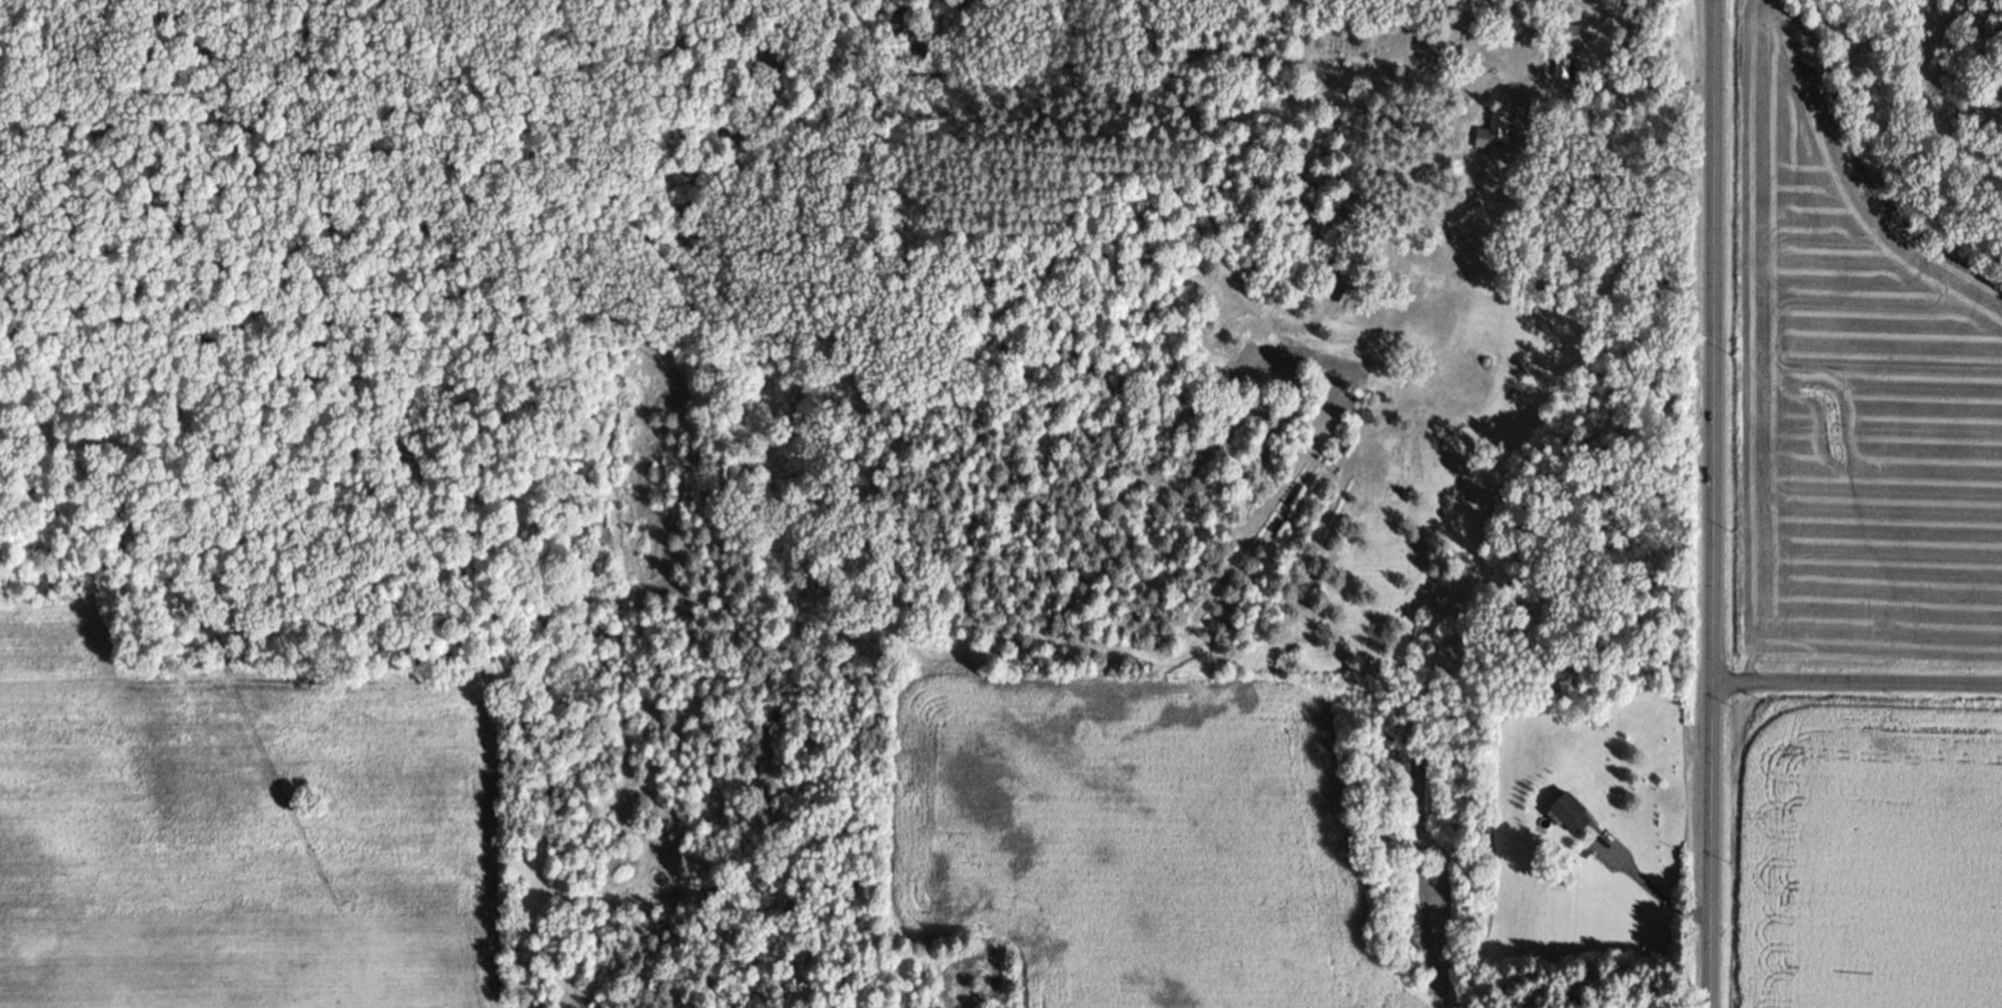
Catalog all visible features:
building: (1564, 73)
building: (1499, 138)
road: (1714, 504)
road: (1858, 684)
building: (1578, 819)
road: (1654, 893)

